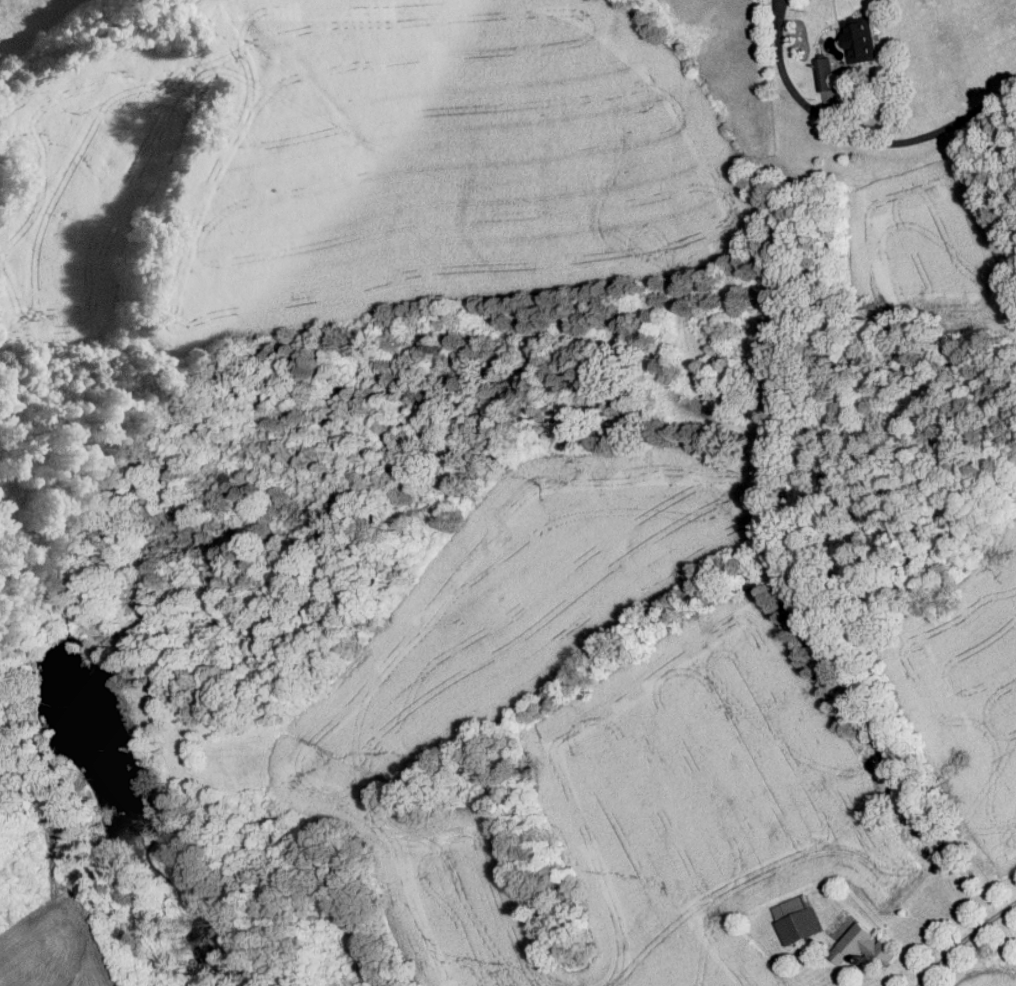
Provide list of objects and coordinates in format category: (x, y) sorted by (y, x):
building: (860, 38)
building: (824, 73)
road: (857, 136)
building: (797, 917)
road: (962, 934)
building: (863, 944)

